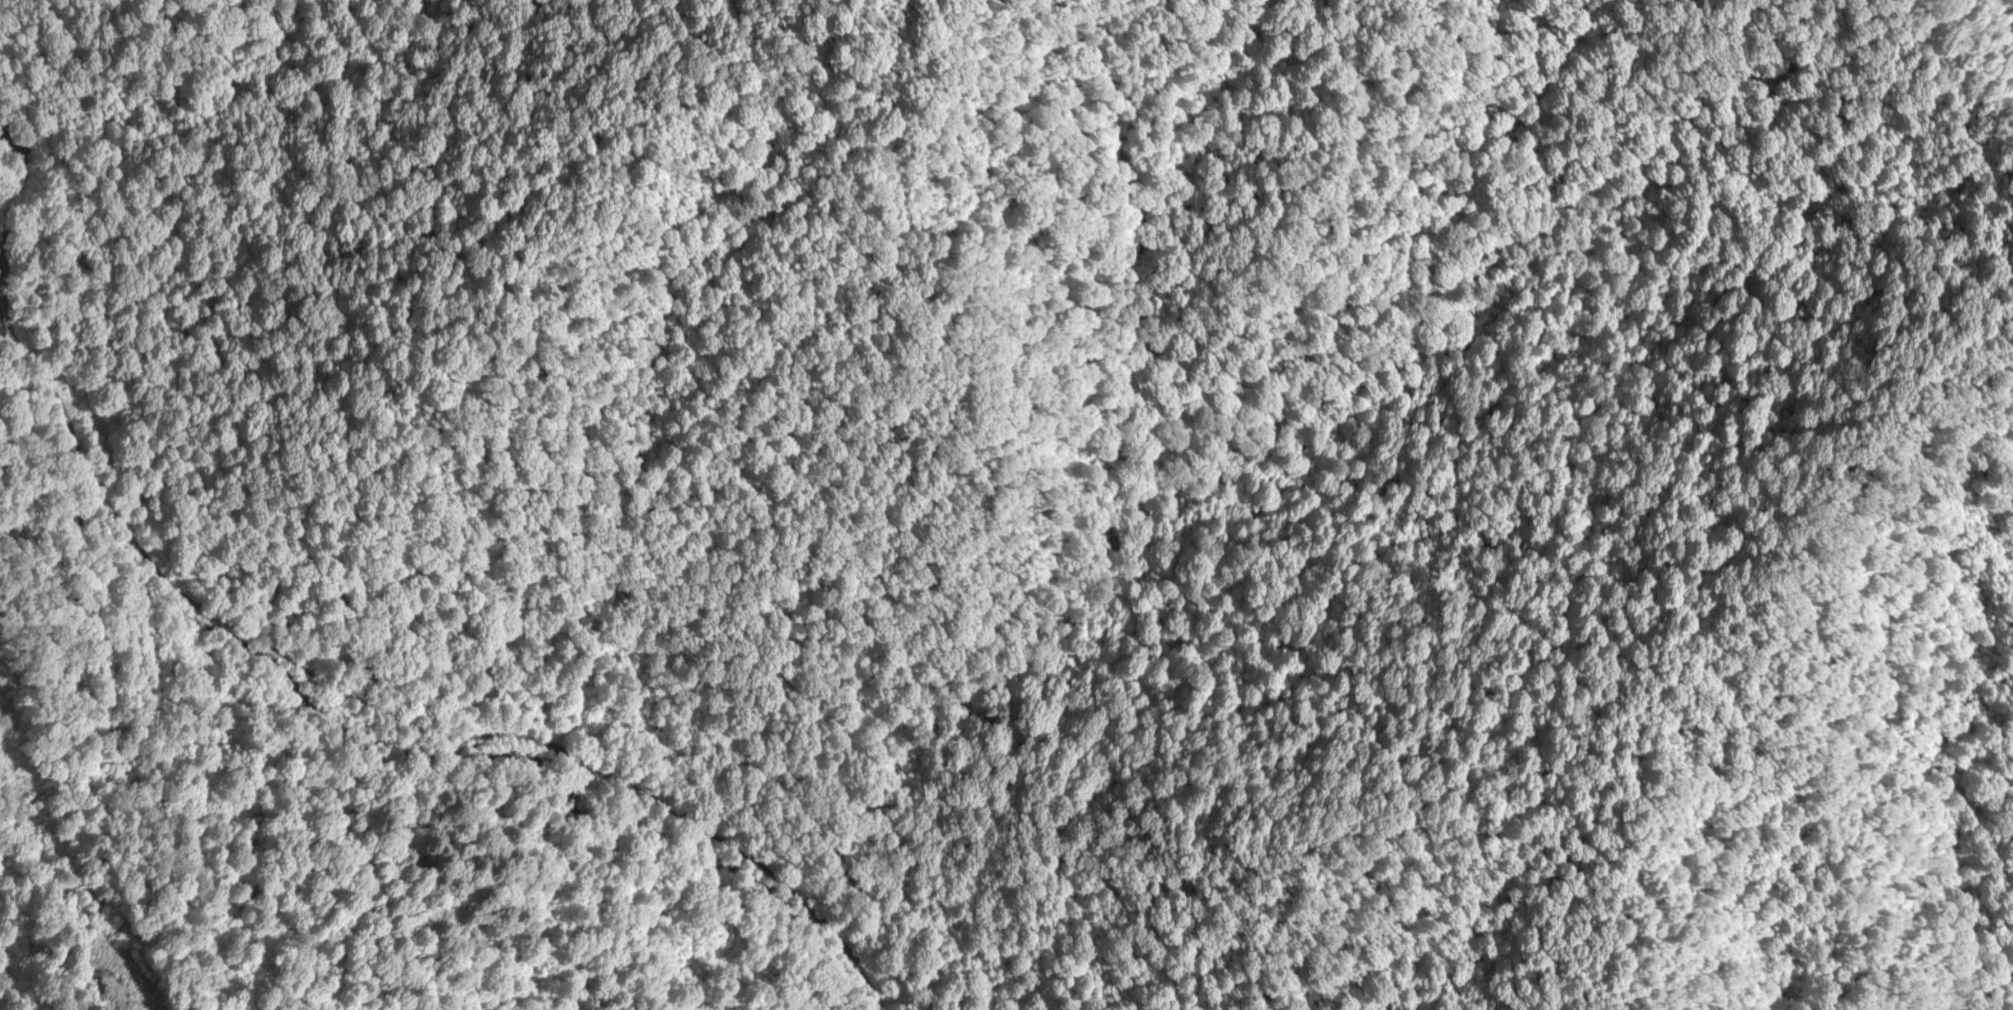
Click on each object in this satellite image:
road: (362, 701)

